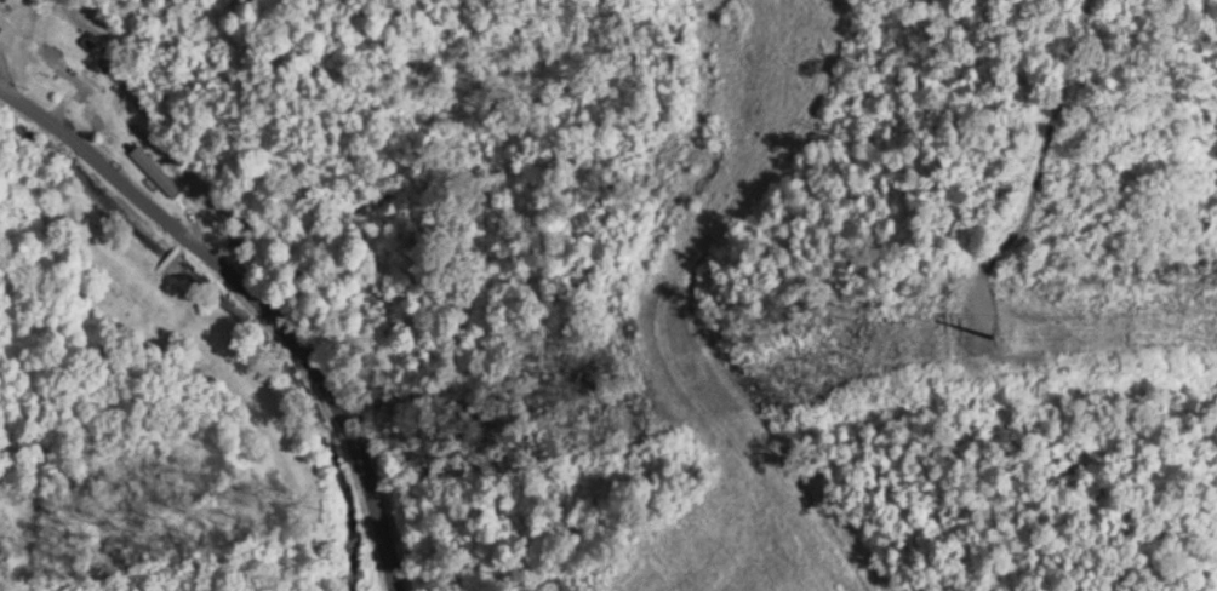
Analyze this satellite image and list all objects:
building: (72, 73)
building: (156, 168)
road: (284, 263)
power tower: (1007, 332)

